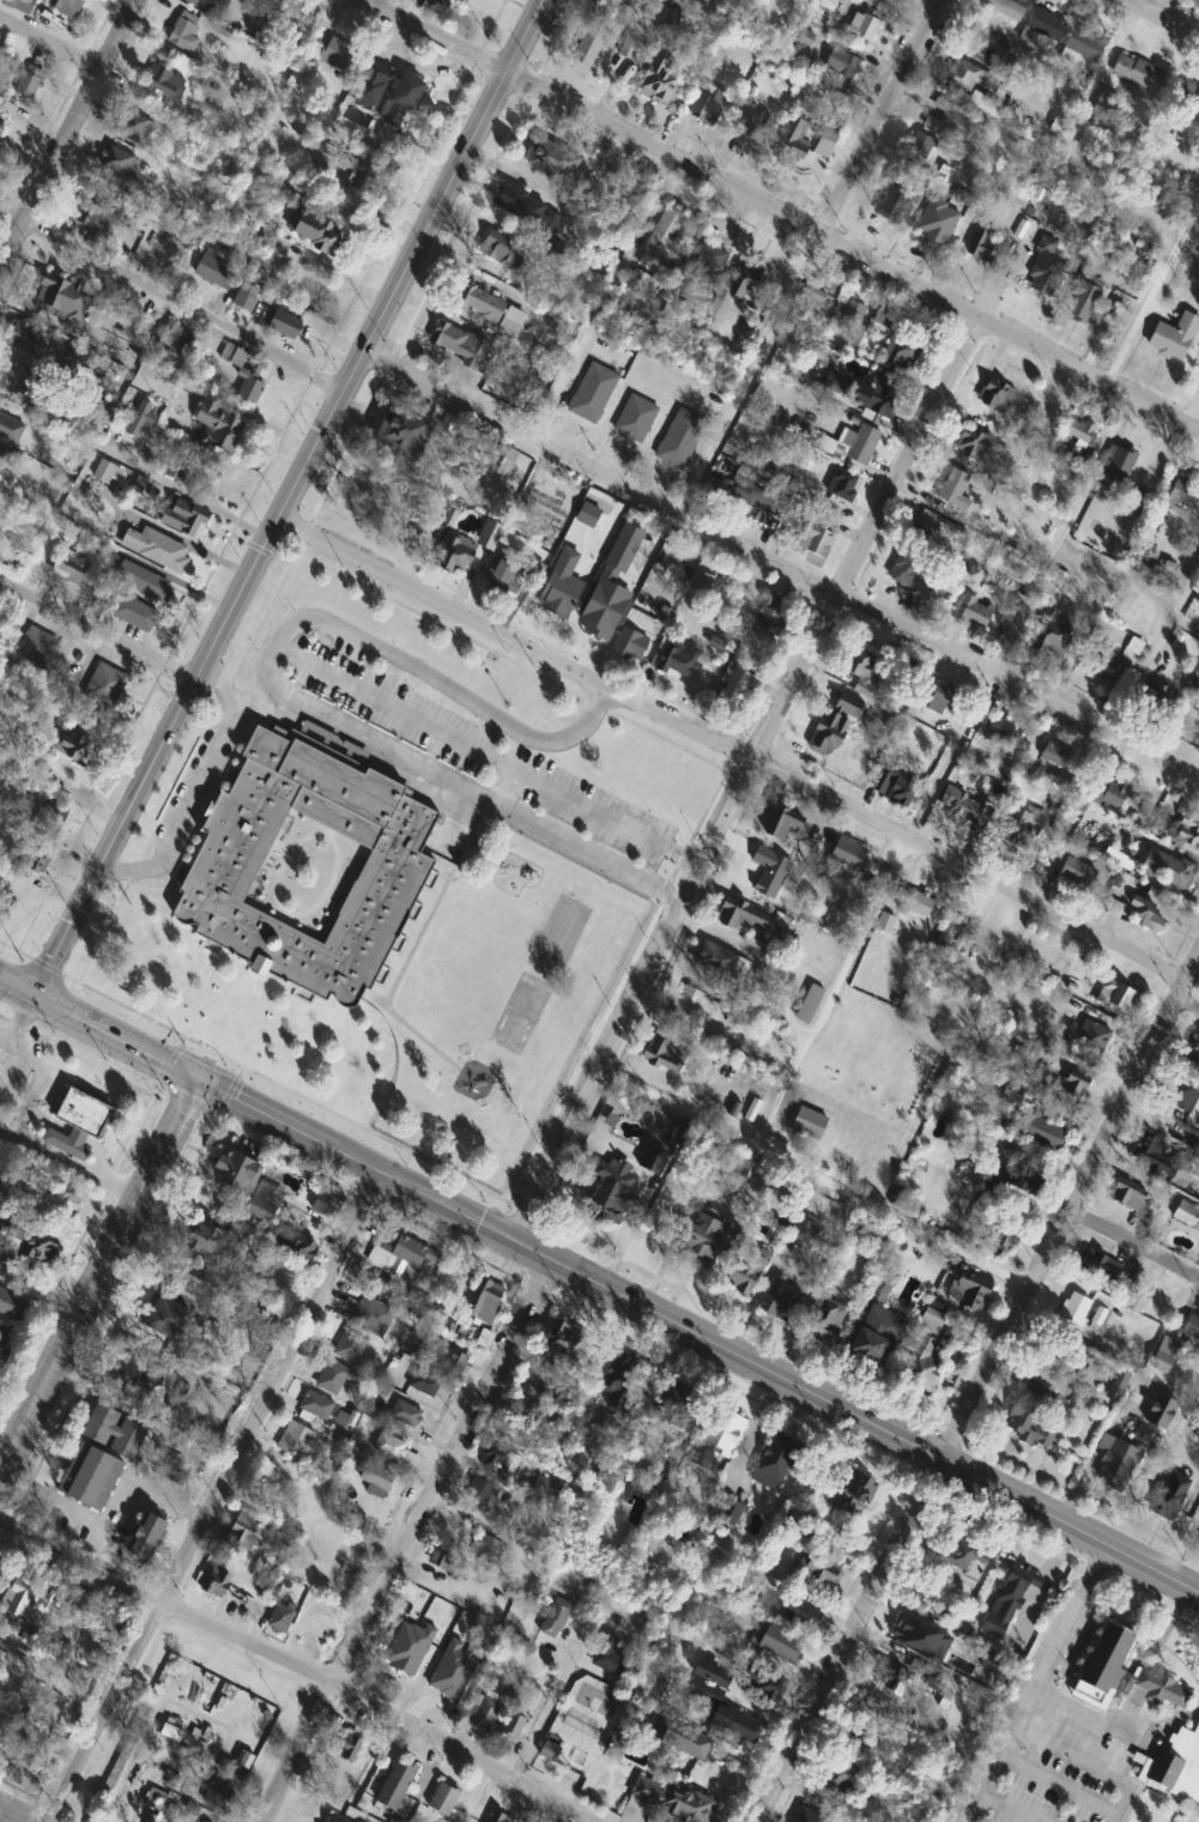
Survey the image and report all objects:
building: (464, 2)
building: (19, 5)
building: (65, 5)
building: (211, 6)
building: (1005, 6)
road: (1157, 7)
road: (1162, 18)
building: (865, 24)
building: (1043, 24)
building: (184, 34)
road: (434, 35)
road: (48, 41)
building: (591, 44)
building: (1082, 44)
building: (335, 54)
building: (842, 63)
building: (29, 81)
building: (662, 81)
building: (164, 83)
building: (974, 86)
building: (388, 91)
building: (710, 107)
building: (1104, 107)
building: (1194, 109)
building: (2, 115)
road: (876, 116)
building: (955, 123)
building: (133, 126)
building: (758, 126)
road: (65, 131)
building: (792, 143)
building: (924, 149)
building: (551, 158)
building: (119, 165)
building: (346, 167)
building: (946, 170)
building: (896, 199)
building: (519, 204)
building: (95, 214)
building: (316, 232)
building: (665, 234)
building: (265, 237)
building: (980, 243)
building: (501, 249)
road: (849, 249)
building: (713, 264)
building: (1046, 270)
building: (214, 273)
building: (749, 284)
road: (1153, 295)
road: (171, 296)
building: (246, 297)
building: (812, 297)
building: (61, 298)
building: (1083, 302)
building: (482, 304)
building: (883, 317)
building: (284, 323)
building: (847, 325)
building: (174, 337)
building: (1174, 337)
building: (25, 338)
building: (465, 347)
building: (903, 352)
building: (234, 356)
building: (1198, 367)
road: (746, 373)
building: (836, 381)
building: (592, 391)
building: (250, 392)
building: (995, 395)
building: (880, 402)
building: (635, 416)
building: (138, 418)
building: (217, 425)
building: (10, 429)
building: (402, 432)
building: (1077, 432)
building: (680, 436)
building: (973, 443)
building: (862, 446)
building: (1116, 465)
building: (175, 467)
building: (108, 474)
building: (844, 485)
road: (183, 489)
building: (955, 490)
building: (745, 494)
building: (1185, 495)
road: (285, 497)
building: (587, 513)
building: (183, 519)
building: (935, 529)
road: (1060, 533)
building: (816, 539)
building: (156, 549)
building: (546, 553)
building: (455, 555)
building: (71, 561)
road: (779, 565)
building: (906, 570)
building: (504, 579)
building: (1059, 581)
building: (144, 582)
building: (561, 582)
building: (610, 583)
building: (973, 610)
building: (134, 613)
building: (767, 617)
road: (97, 628)
building: (1054, 637)
building: (629, 646)
building: (40, 648)
building: (676, 656)
building: (1106, 664)
building: (861, 666)
building: (740, 668)
building: (105, 685)
road: (286, 691)
building: (943, 698)
building: (1151, 701)
building: (848, 703)
building: (995, 728)
building: (828, 734)
building: (74, 741)
parking lot: (473, 746)
road: (490, 755)
road: (744, 755)
building: (1055, 755)
road: (951, 757)
railway: (143, 768)
road: (745, 777)
road: (196, 781)
building: (896, 785)
building: (1114, 794)
building: (963, 806)
road: (1054, 810)
building: (783, 825)
building: (1021, 829)
building: (1189, 830)
building: (42, 835)
building: (849, 853)
building: (396, 862)
building: (770, 871)
building: (1077, 872)
building: (1181, 874)
building: (916, 902)
building: (1115, 908)
building: (735, 913)
building: (955, 927)
park: (558, 933)
road: (765, 961)
building: (721, 964)
road: (17, 986)
road: (835, 994)
building: (810, 1004)
building: (695, 1009)
road: (20, 1016)
building: (1092, 1036)
building: (1193, 1048)
building: (661, 1055)
road: (22, 1063)
parking lot: (13, 1064)
traffic signals: (196, 1079)
parking lot: (42, 1081)
building: (1074, 1083)
road: (32, 1090)
building: (1182, 1096)
building: (75, 1119)
building: (807, 1124)
building: (1041, 1131)
building: (1149, 1150)
building: (649, 1158)
road: (66, 1161)
road: (815, 1176)
building: (1016, 1176)
building: (244, 1185)
building: (1126, 1197)
building: (607, 1198)
building: (59, 1204)
building: (1187, 1215)
building: (804, 1229)
building: (1003, 1240)
building: (204, 1241)
building: (703, 1241)
building: (29, 1242)
building: (292, 1242)
road: (1133, 1243)
building: (404, 1253)
building: (1100, 1266)
road: (95, 1267)
building: (745, 1271)
road: (616, 1291)
building: (969, 1293)
building: (781, 1302)
building: (488, 1303)
building: (11, 1306)
building: (1074, 1309)
building: (168, 1320)
building: (824, 1322)
building: (1192, 1327)
building: (362, 1330)
building: (4, 1343)
building: (562, 1345)
building: (867, 1348)
building: (1164, 1355)
building: (449, 1357)
building: (922, 1367)
building: (1076, 1369)
building: (137, 1374)
building: (333, 1378)
building: (620, 1381)
building: (424, 1382)
road: (977, 1388)
building: (315, 1405)
building: (673, 1412)
building: (1159, 1412)
building: (405, 1415)
building: (1029, 1416)
building: (113, 1431)
building: (1197, 1434)
building: (717, 1436)
building: (295, 1441)
building: (396, 1454)
building: (492, 1458)
building: (775, 1461)
building: (1115, 1464)
building: (170, 1470)
building: (89, 1478)
building: (376, 1481)
building: (545, 1488)
building: (479, 1491)
building: (850, 1491)
road: (213, 1497)
road: (169, 1499)
building: (1167, 1502)
road: (74, 1512)
building: (728, 1513)
building: (244, 1530)
building: (145, 1537)
road: (402, 1537)
building: (486, 1549)
building: (964, 1557)
building: (448, 1563)
building: (820, 1569)
building: (217, 1582)
building: (17, 1592)
building: (1009, 1599)
building: (801, 1614)
building: (280, 1618)
building: (781, 1645)
building: (0, 1648)
building: (608, 1657)
road: (296, 1661)
building: (1119, 1667)
building: (534, 1671)
building: (892, 1678)
road: (1034, 1681)
building: (449, 1690)
road: (547, 1703)
building: (721, 1709)
building: (486, 1713)
road: (1101, 1720)
building: (513, 1726)
building: (854, 1736)
parking lot: (1049, 1738)
building: (677, 1739)
building: (345, 1743)
building: (549, 1751)
building: (1174, 1762)
building: (576, 1763)
road: (1088, 1765)
building: (840, 1781)
road: (1055, 1781)
building: (395, 1784)
building: (216, 1799)
building: (443, 1800)
building: (670, 1800)
road: (1009, 1806)
building: (811, 1816)
building: (498, 1818)
building: (335, 1820)

